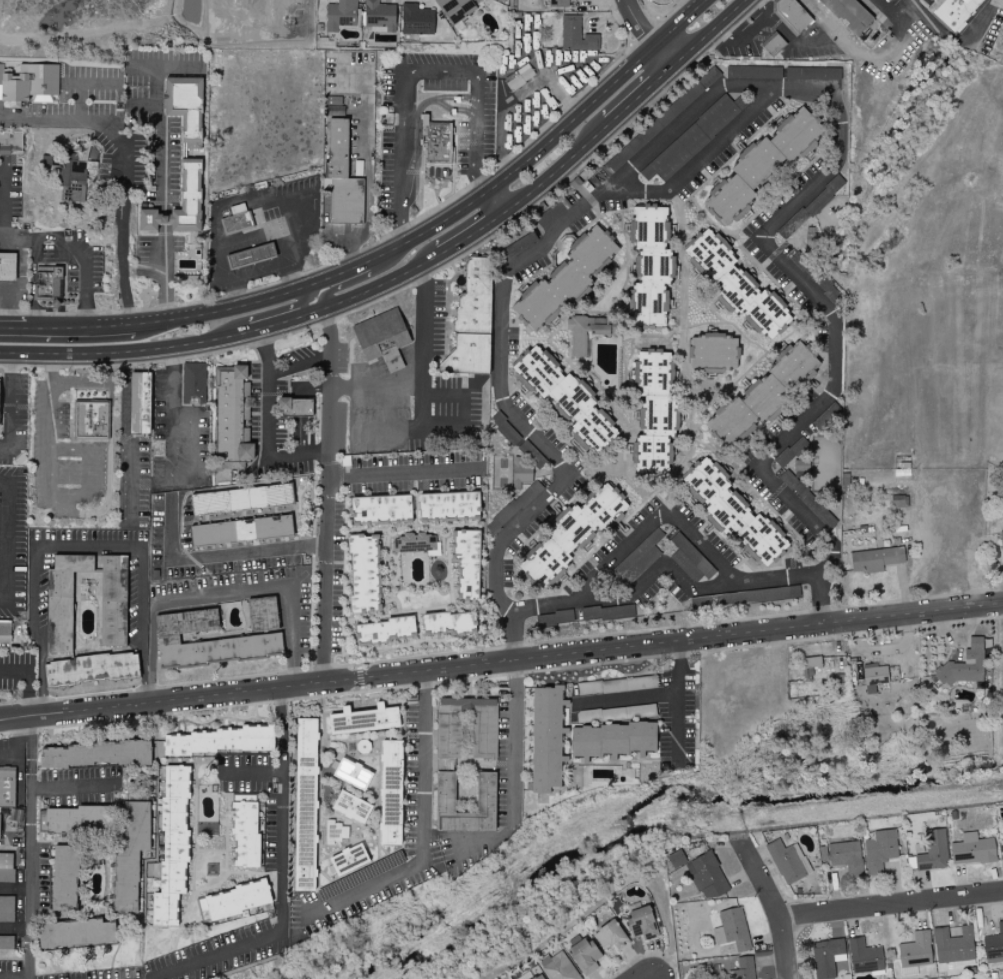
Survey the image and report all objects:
building: (559, 4)
building: (457, 8)
building: (952, 12)
road: (891, 13)
building: (261, 14)
building: (298, 14)
building: (341, 14)
building: (848, 14)
building: (225, 15)
building: (380, 15)
building: (793, 15)
building: (418, 19)
road: (682, 24)
road: (636, 25)
road: (749, 33)
road: (713, 34)
building: (576, 35)
road: (955, 42)
road: (791, 43)
building: (773, 45)
road: (665, 58)
park: (1002, 61)
road: (176, 65)
road: (155, 72)
road: (416, 72)
building: (754, 72)
building: (813, 74)
building: (519, 77)
building: (30, 84)
building: (688, 97)
road: (432, 98)
road: (449, 107)
road: (749, 108)
road: (74, 117)
road: (102, 118)
road: (679, 122)
road: (367, 135)
building: (694, 137)
building: (435, 142)
building: (10, 143)
building: (633, 146)
building: (183, 157)
building: (763, 164)
building: (73, 172)
building: (341, 175)
road: (270, 197)
road: (165, 198)
road: (8, 200)
road: (496, 204)
building: (812, 207)
building: (553, 213)
building: (246, 220)
road: (122, 223)
building: (232, 225)
road: (21, 237)
road: (259, 237)
building: (519, 245)
road: (68, 246)
road: (383, 252)
building: (251, 256)
gas station: (251, 256)
building: (652, 266)
building: (8, 267)
gas station: (8, 267)
road: (291, 276)
road: (22, 277)
building: (816, 277)
building: (568, 278)
road: (32, 279)
road: (357, 283)
building: (49, 284)
building: (735, 284)
road: (370, 290)
road: (85, 297)
road: (6, 311)
road: (266, 314)
building: (473, 322)
road: (12, 328)
road: (39, 328)
building: (589, 331)
building: (381, 335)
building: (714, 350)
road: (418, 356)
road: (281, 367)
road: (78, 381)
road: (171, 381)
road: (377, 383)
building: (193, 385)
building: (763, 394)
building: (567, 397)
building: (0, 402)
road: (300, 402)
road: (8, 404)
building: (140, 404)
building: (297, 406)
building: (655, 409)
building: (91, 421)
building: (231, 421)
building: (505, 429)
road: (422, 431)
road: (385, 432)
road: (126, 437)
road: (110, 447)
road: (267, 448)
building: (532, 455)
building: (522, 471)
park: (501, 473)
road: (406, 475)
road: (195, 479)
road: (331, 495)
building: (243, 498)
building: (451, 504)
road: (50, 507)
building: (383, 507)
building: (514, 507)
building: (734, 510)
road: (652, 525)
building: (243, 529)
building: (572, 532)
building: (1002, 540)
road: (7, 542)
building: (416, 542)
road: (80, 544)
road: (210, 555)
building: (876, 559)
building: (468, 562)
road: (663, 566)
building: (364, 574)
building: (624, 574)
road: (220, 596)
building: (65, 599)
building: (113, 600)
building: (264, 613)
building: (450, 621)
building: (384, 629)
building: (5, 633)
building: (256, 638)
road: (501, 661)
building: (966, 665)
building: (94, 668)
building: (813, 668)
building: (875, 676)
road: (627, 697)
road: (676, 701)
building: (364, 720)
road: (283, 728)
building: (466, 730)
building: (548, 738)
building: (615, 739)
building: (223, 740)
building: (363, 747)
road: (15, 748)
building: (97, 754)
road: (30, 759)
building: (353, 774)
parking lot: (410, 779)
building: (8, 788)
building: (488, 792)
building: (391, 793)
building: (306, 804)
road: (513, 805)
building: (352, 807)
building: (1, 819)
building: (75, 820)
road: (421, 829)
building: (335, 833)
building: (247, 835)
building: (174, 846)
building: (881, 850)
building: (975, 850)
building: (931, 852)
building: (847, 856)
building: (677, 857)
building: (132, 858)
building: (349, 860)
building: (6, 861)
building: (787, 862)
building: (7, 875)
building: (707, 876)
building: (66, 878)
road: (28, 884)
road: (281, 884)
parking lot: (407, 884)
road: (605, 894)
building: (237, 900)
road: (771, 906)
road: (890, 907)
building: (7, 909)
building: (642, 924)
building: (733, 929)
road: (14, 930)
building: (78, 933)
building: (611, 936)
building: (6, 943)
building: (954, 947)
building: (915, 953)
building: (584, 956)
building: (865, 956)
building: (827, 957)
building: (560, 968)
building: (745, 968)
road: (9, 976)
building: (534, 978)
building: (539, 978)
road: (655, 978)

